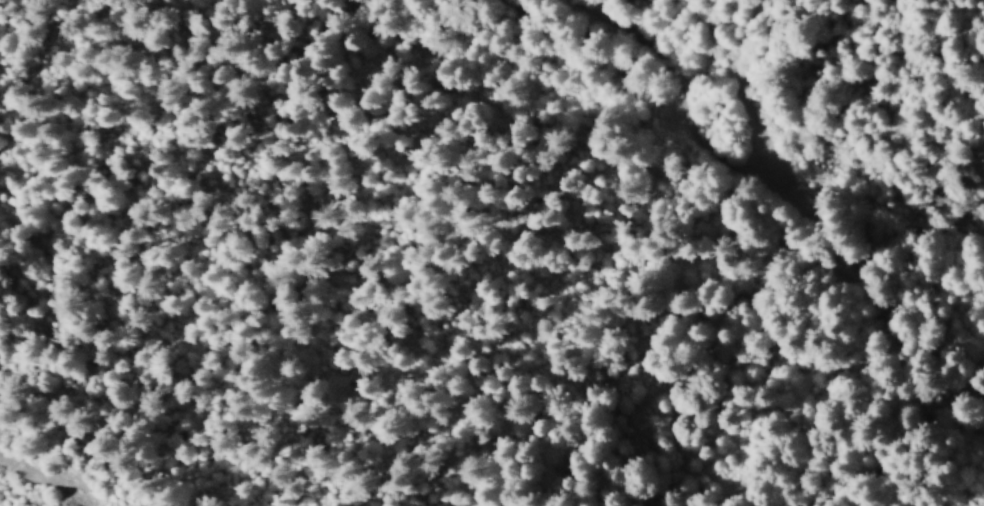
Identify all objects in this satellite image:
road: (786, 217)

